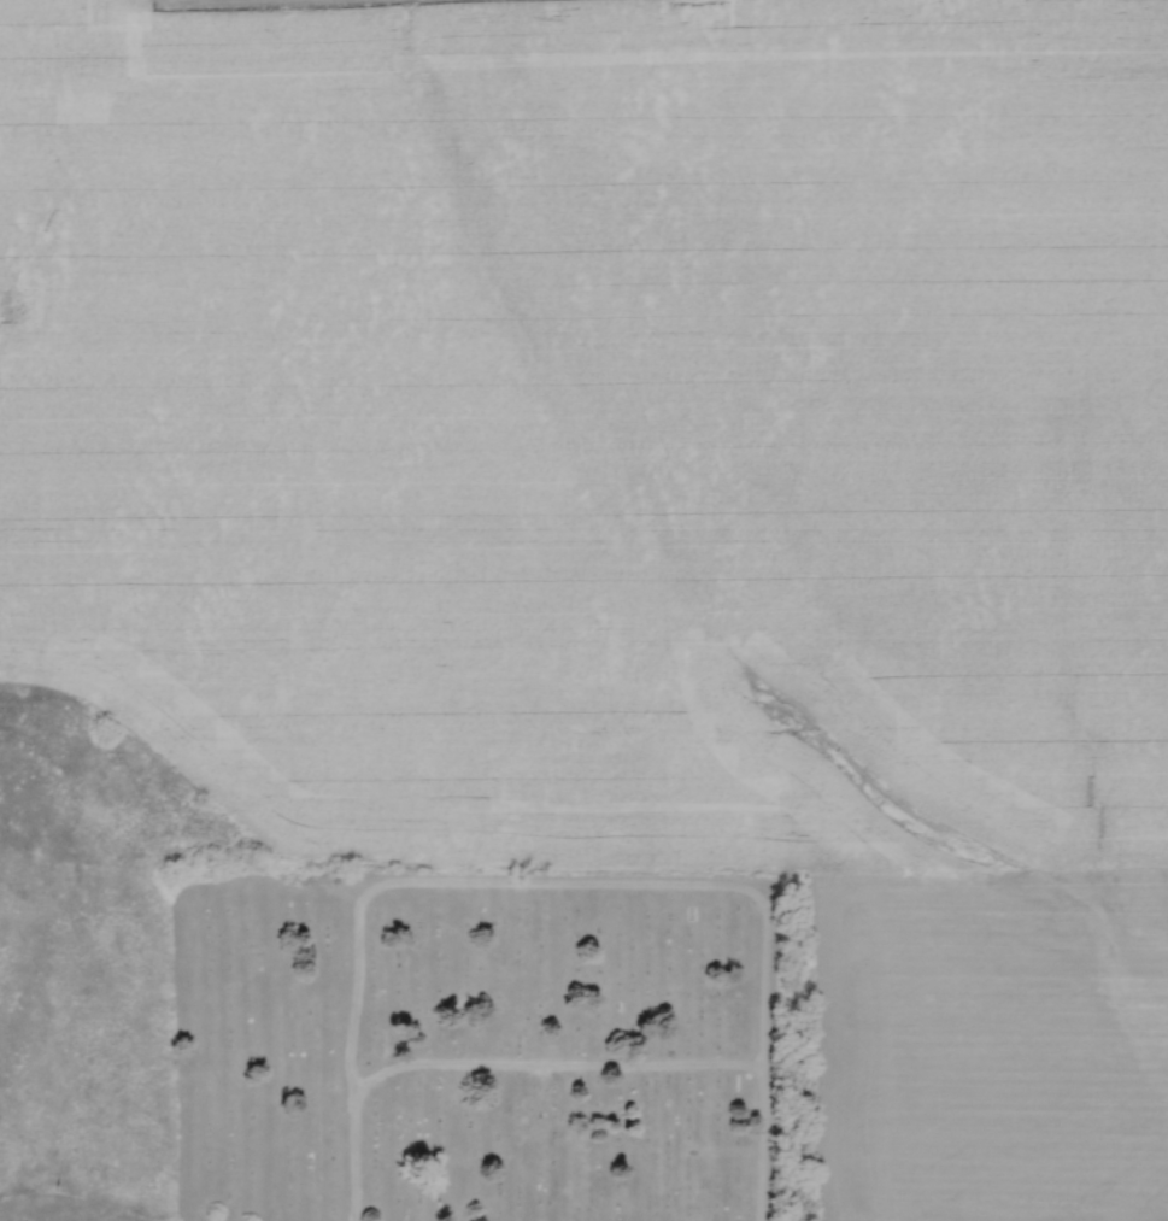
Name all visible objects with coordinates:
road: (617, 888)
park: (480, 1044)
road: (493, 1069)

